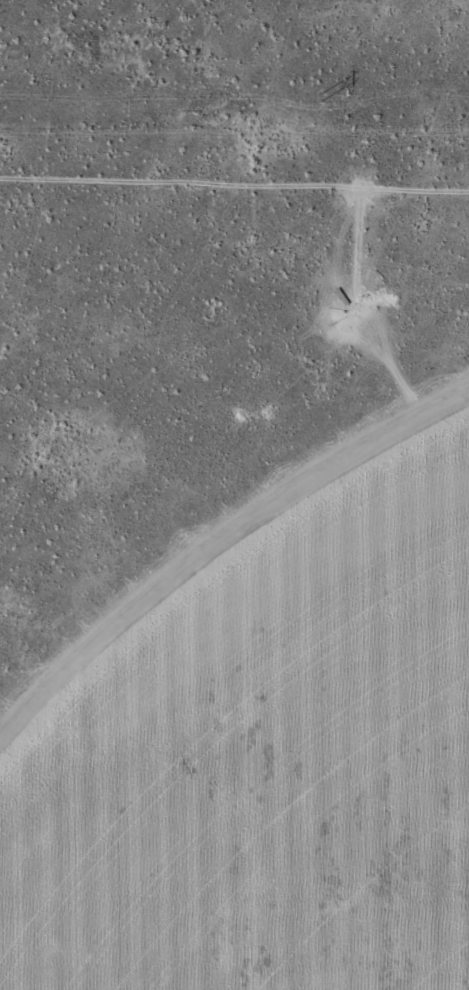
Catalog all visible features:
power tower: (322, 98)
road: (234, 943)

